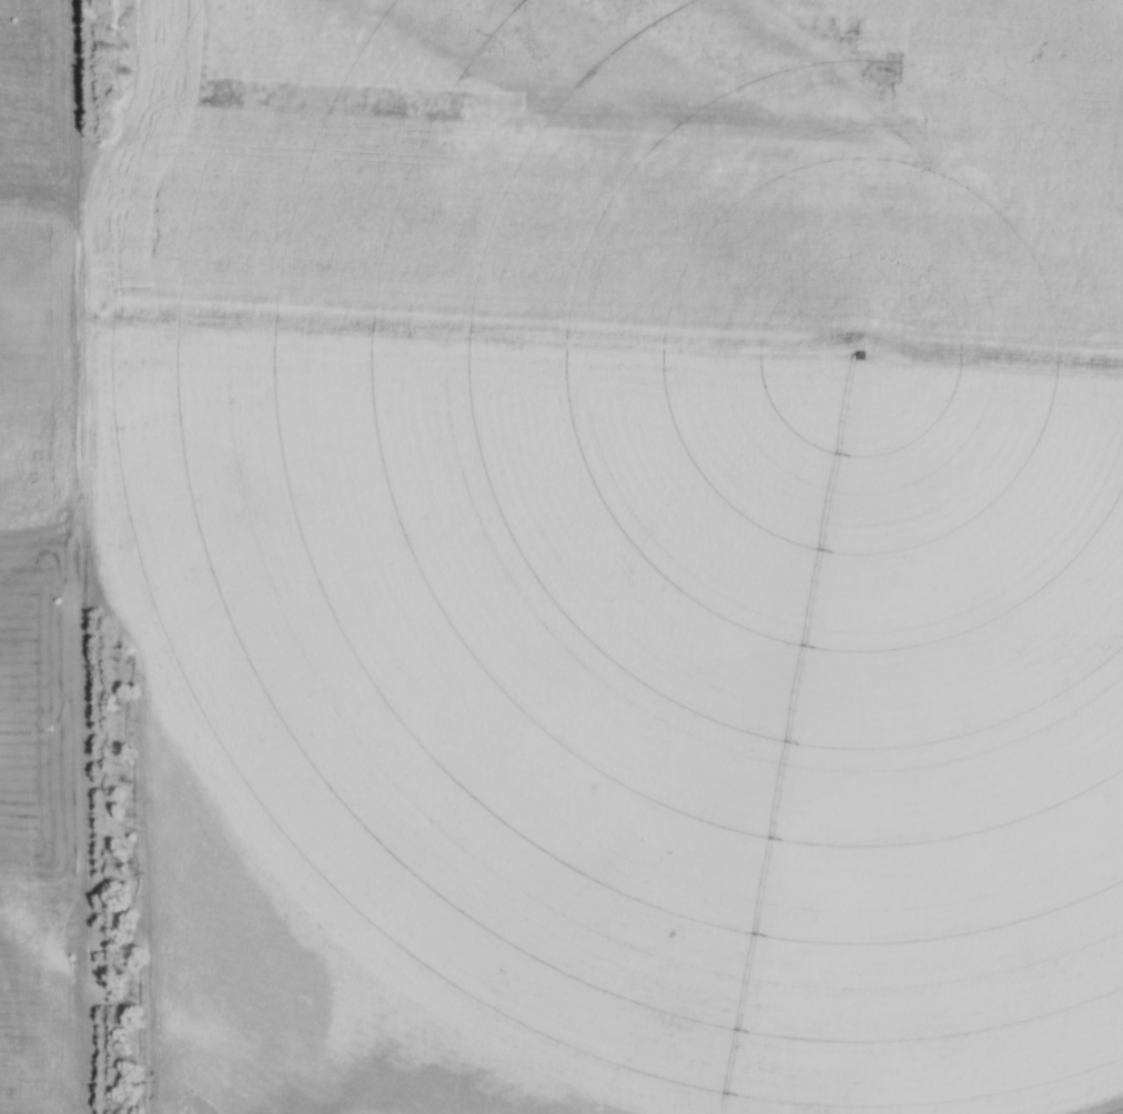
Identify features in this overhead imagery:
building: (407, 146)

